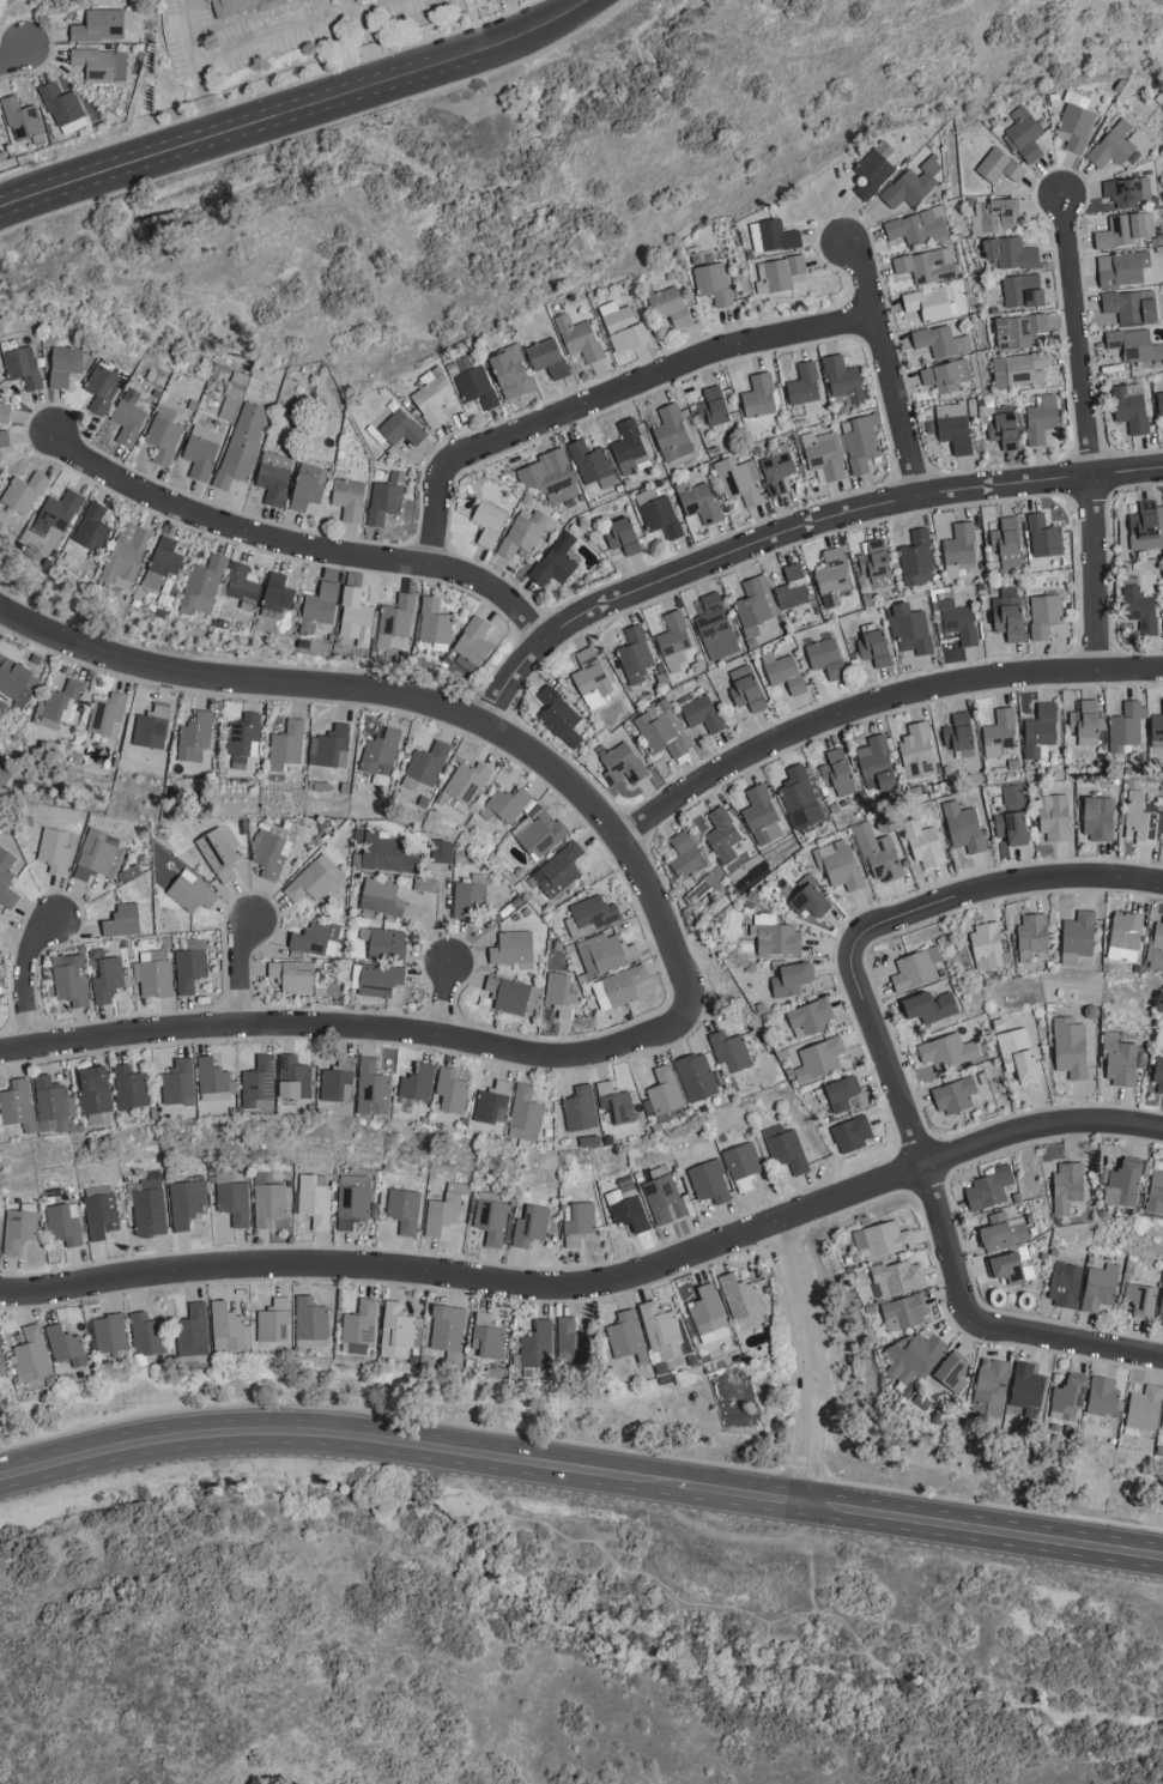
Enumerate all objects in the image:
road: (375, 5)
building: (237, 6)
building: (99, 26)
road: (277, 36)
road: (367, 40)
road: (12, 54)
building: (101, 64)
road: (196, 67)
building: (62, 108)
road: (292, 108)
building: (22, 119)
building: (1076, 122)
building: (1025, 135)
building: (1119, 144)
building: (999, 165)
building: (874, 169)
building: (911, 185)
building: (1126, 191)
building: (994, 216)
building: (917, 226)
building: (1125, 230)
building: (773, 236)
building: (1011, 253)
building: (927, 265)
building: (1122, 267)
building: (780, 274)
building: (711, 284)
building: (1023, 291)
building: (928, 303)
building: (1132, 306)
building: (671, 307)
building: (624, 327)
building: (1019, 331)
building: (579, 338)
building: (940, 341)
building: (1134, 344)
building: (547, 358)
building: (65, 364)
building: (22, 367)
road: (890, 367)
building: (1026, 369)
building: (511, 373)
building: (944, 376)
building: (844, 380)
building: (472, 383)
building: (805, 385)
building: (102, 388)
road: (613, 395)
building: (758, 397)
building: (434, 398)
building: (1161, 403)
building: (713, 407)
building: (1131, 407)
building: (5, 411)
building: (128, 418)
building: (1041, 419)
building: (953, 427)
building: (1004, 427)
building: (401, 429)
building: (672, 434)
road: (1090, 434)
building: (163, 435)
building: (4, 439)
building: (860, 442)
building: (242, 445)
building: (629, 446)
building: (823, 455)
building: (200, 456)
building: (0, 459)
building: (592, 464)
building: (776, 468)
building: (550, 476)
building: (274, 477)
building: (739, 480)
building: (308, 486)
building: (24, 492)
building: (350, 500)
building: (697, 501)
building: (383, 502)
building: (57, 512)
building: (658, 514)
building: (489, 524)
building: (1145, 526)
building: (92, 527)
building: (525, 533)
road: (796, 536)
building: (1044, 537)
building: (1007, 542)
road: (304, 546)
building: (959, 550)
building: (126, 555)
building: (916, 560)
building: (556, 561)
building: (876, 563)
building: (163, 564)
building: (831, 577)
building: (241, 582)
building: (201, 586)
building: (792, 588)
building: (277, 597)
building: (755, 605)
building: (320, 607)
building: (1139, 609)
building: (1008, 613)
building: (1044, 616)
building: (357, 617)
building: (395, 619)
building: (434, 622)
building: (958, 622)
building: (715, 628)
building: (909, 628)
building: (673, 641)
building: (473, 645)
building: (876, 648)
building: (635, 655)
building: (826, 658)
building: (783, 672)
building: (592, 677)
building: (17, 681)
building: (746, 688)
road: (414, 699)
building: (0, 700)
building: (59, 704)
road: (876, 704)
building: (1, 713)
building: (702, 713)
building: (107, 714)
building: (559, 716)
building: (1086, 721)
building: (1126, 725)
building: (151, 726)
building: (661, 728)
building: (1040, 728)
building: (1157, 728)
building: (999, 732)
building: (959, 733)
building: (195, 736)
building: (242, 738)
building: (286, 744)
building: (331, 746)
building: (917, 750)
building: (380, 752)
building: (425, 764)
building: (622, 764)
building: (876, 764)
building: (838, 770)
building: (800, 797)
building: (505, 804)
building: (762, 815)
building: (1013, 816)
building: (1054, 816)
building: (1098, 817)
building: (1140, 817)
building: (964, 827)
building: (538, 831)
building: (722, 834)
building: (926, 845)
building: (54, 849)
building: (271, 849)
building: (442, 849)
building: (388, 853)
building: (878, 853)
building: (685, 854)
building: (98, 855)
building: (222, 855)
building: (838, 863)
building: (558, 869)
building: (6, 878)
building: (315, 879)
building: (425, 884)
road: (1004, 885)
building: (192, 893)
building: (381, 896)
building: (810, 897)
building: (467, 900)
building: (592, 914)
building: (2, 920)
building: (122, 920)
building: (775, 935)
building: (1078, 936)
building: (1126, 936)
building: (315, 938)
building: (384, 942)
building: (988, 945)
building: (514, 949)
building: (1156, 949)
building: (607, 951)
building: (190, 964)
building: (916, 968)
road: (247, 972)
building: (155, 974)
building: (291, 976)
building: (792, 978)
building: (69, 979)
building: (107, 979)
building: (376, 979)
road: (30, 982)
building: (619, 986)
building: (509, 993)
road: (454, 994)
building: (559, 994)
building: (931, 1005)
building: (810, 1016)
road: (358, 1028)
building: (1070, 1047)
building: (950, 1051)
building: (731, 1052)
building: (1018, 1053)
building: (819, 1059)
building: (1121, 1062)
building: (1158, 1074)
building: (697, 1076)
building: (293, 1077)
building: (337, 1080)
building: (178, 1081)
building: (417, 1082)
building: (259, 1084)
building: (129, 1087)
building: (214, 1087)
building: (372, 1087)
building: (93, 1089)
building: (452, 1089)
building: (665, 1090)
building: (841, 1093)
building: (955, 1095)
building: (492, 1102)
building: (616, 1102)
building: (17, 1105)
building: (53, 1106)
building: (580, 1108)
building: (525, 1113)
building: (852, 1133)
road: (913, 1135)
building: (786, 1148)
building: (743, 1166)
building: (353, 1179)
building: (709, 1181)
building: (1123, 1184)
building: (1067, 1185)
building: (1156, 1187)
building: (989, 1189)
building: (315, 1198)
building: (666, 1199)
building: (267, 1201)
building: (234, 1202)
building: (186, 1203)
building: (149, 1208)
building: (352, 1208)
building: (404, 1209)
building: (444, 1209)
building: (626, 1209)
building: (99, 1215)
building: (491, 1220)
building: (63, 1223)
building: (577, 1224)
building: (531, 1226)
building: (18, 1229)
building: (1003, 1230)
building: (883, 1239)
building: (1010, 1265)
building: (898, 1277)
building: (1065, 1284)
road: (593, 1286)
building: (1101, 1287)
building: (1141, 1299)
building: (741, 1301)
building: (1161, 1311)
building: (903, 1312)
building: (709, 1314)
building: (309, 1320)
building: (273, 1322)
building: (358, 1328)
building: (229, 1329)
building: (193, 1330)
building: (395, 1330)
building: (661, 1330)
building: (448, 1331)
building: (110, 1332)
building: (147, 1334)
building: (486, 1336)
building: (626, 1336)
road: (1071, 1341)
building: (570, 1342)
building: (66, 1345)
building: (537, 1345)
building: (30, 1355)
building: (913, 1357)
road: (818, 1359)
building: (1, 1366)
building: (953, 1369)
building: (992, 1387)
building: (1028, 1389)
building: (1103, 1396)
building: (1070, 1397)
building: (1144, 1409)
building: (1162, 1426)
road: (346, 1435)
road: (751, 1494)
road: (985, 1530)

